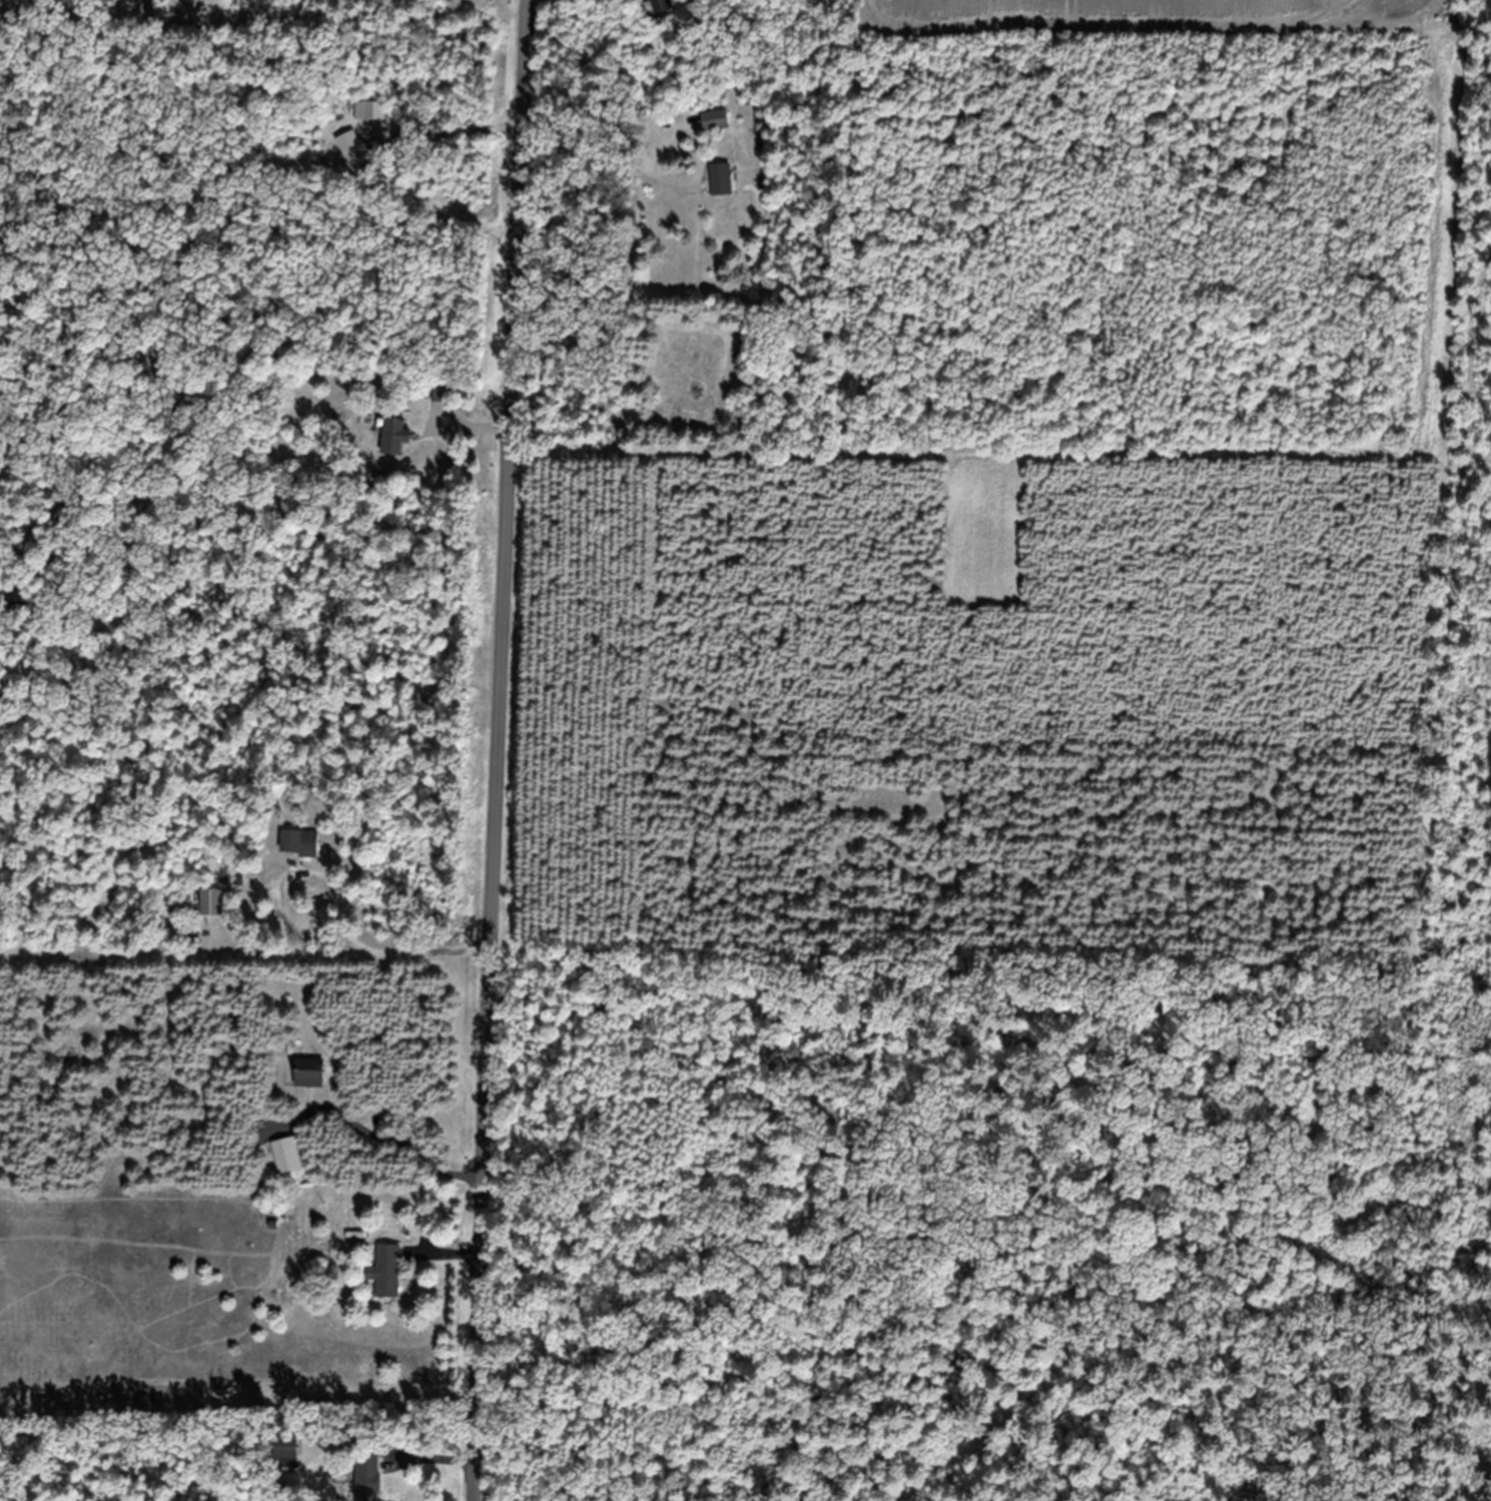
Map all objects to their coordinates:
building: (659, 17)
building: (375, 123)
building: (717, 132)
building: (355, 162)
building: (721, 191)
building: (392, 447)
road: (490, 750)
building: (299, 853)
building: (214, 913)
building: (309, 1084)
building: (386, 1282)
building: (288, 1459)
building: (369, 1484)

